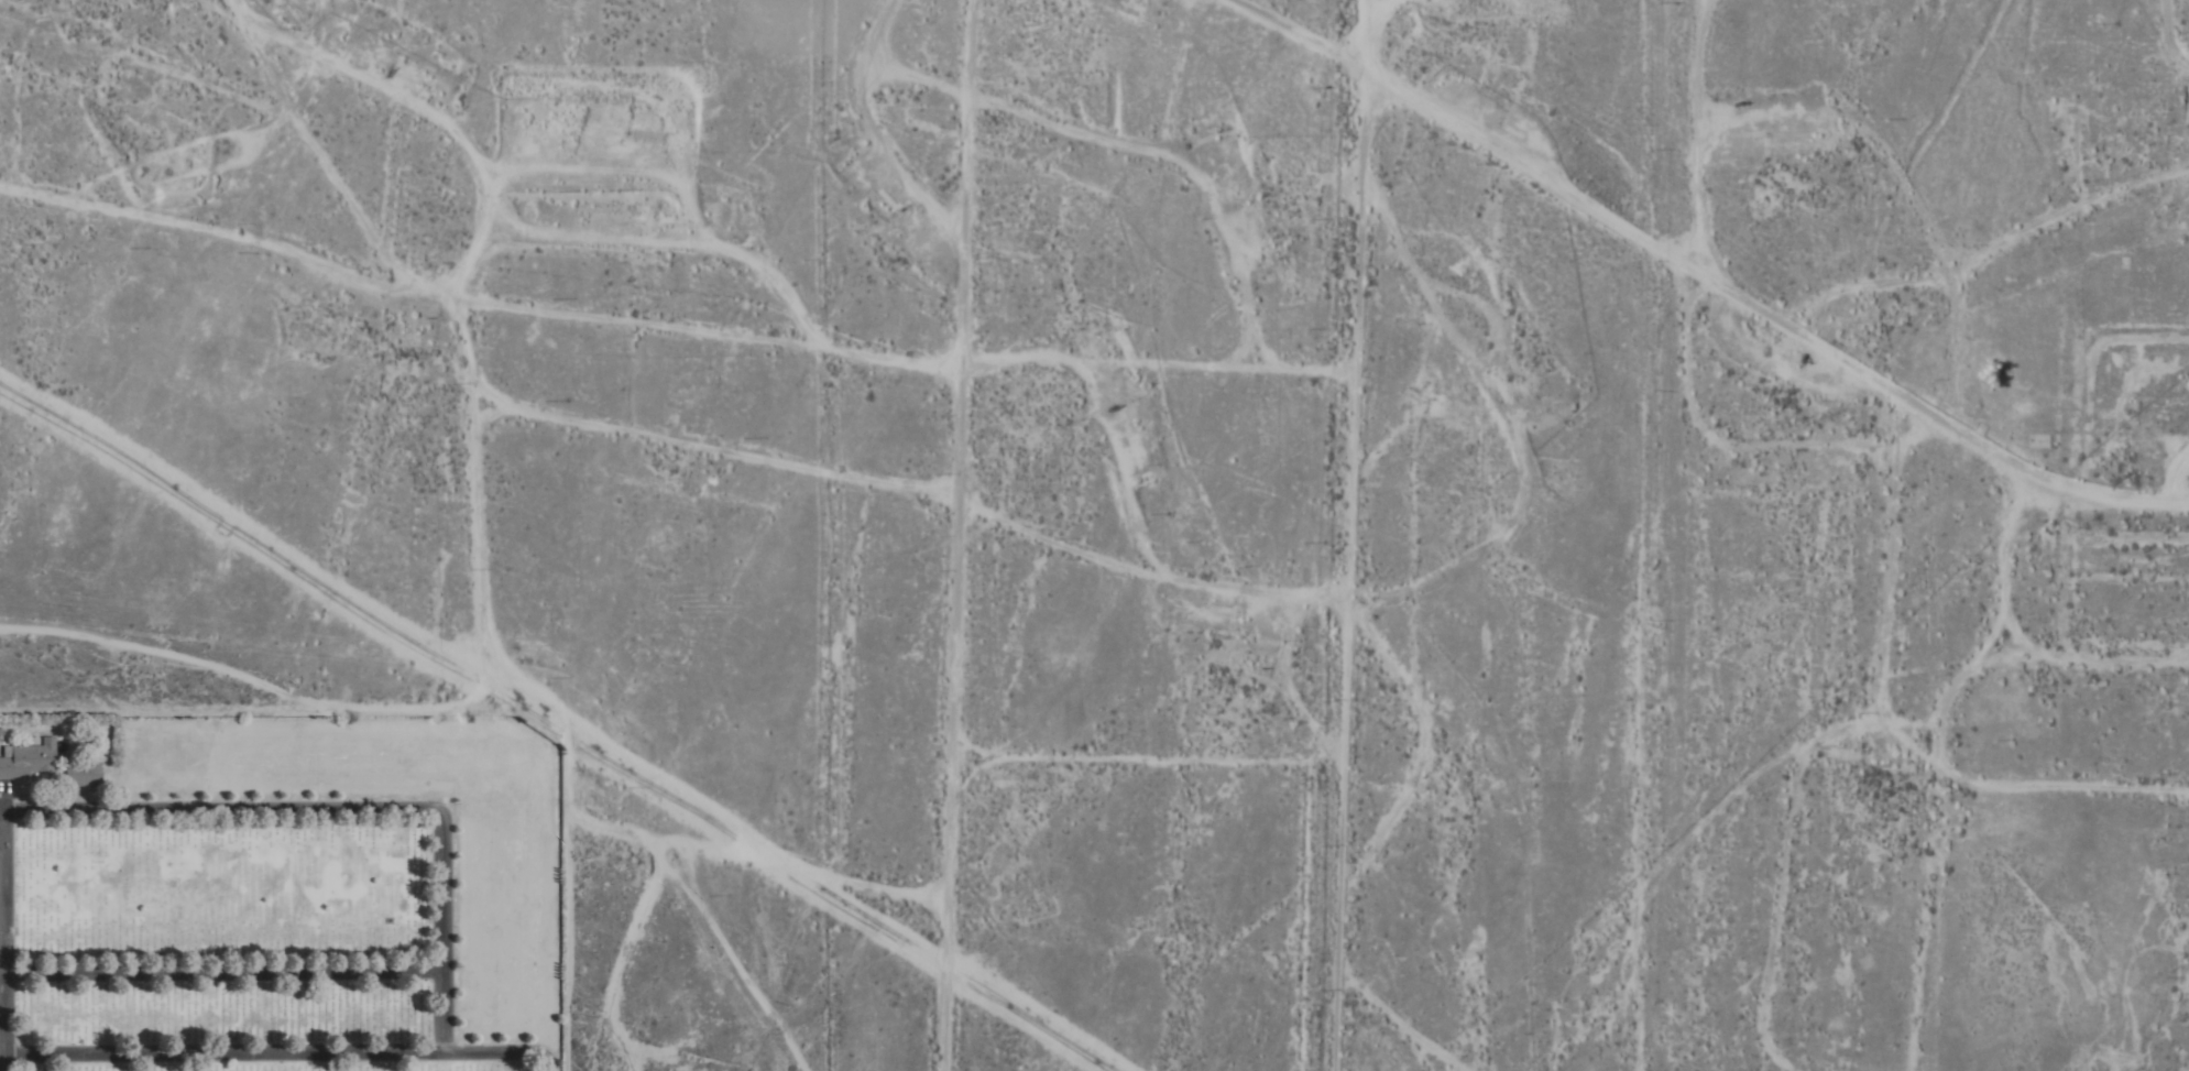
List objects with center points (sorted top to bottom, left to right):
building: (1138, 420)
road: (964, 535)
building: (29, 761)
building: (80, 775)
road: (223, 816)
park: (281, 895)
road: (278, 1059)
road: (9, 1065)

